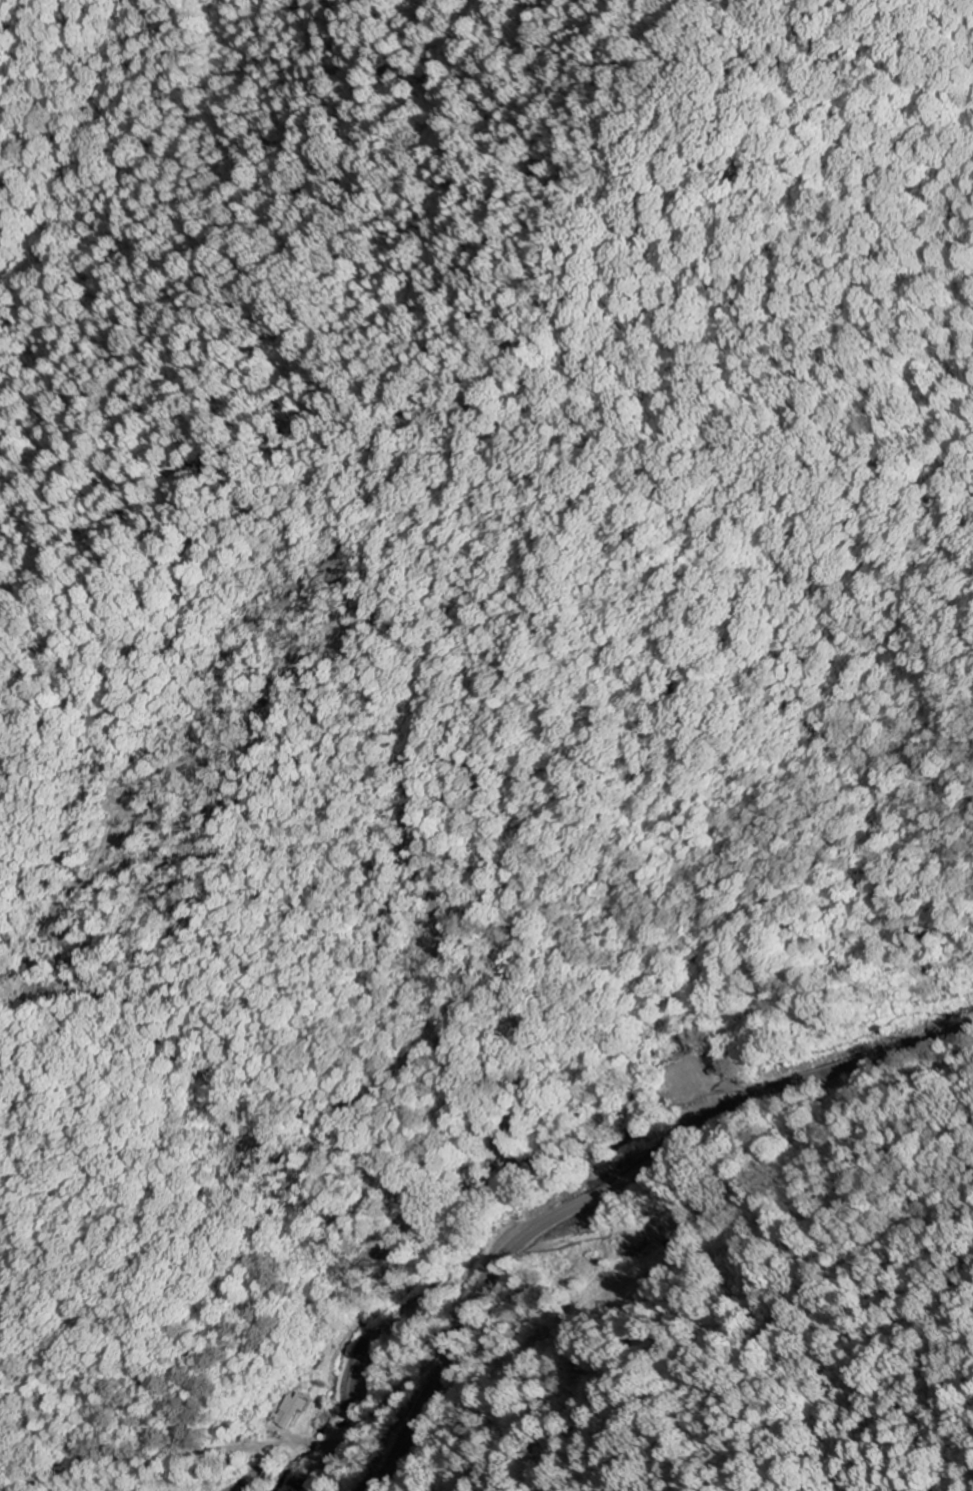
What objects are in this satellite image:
road: (612, 1183)
building: (293, 1410)
road: (378, 1420)

